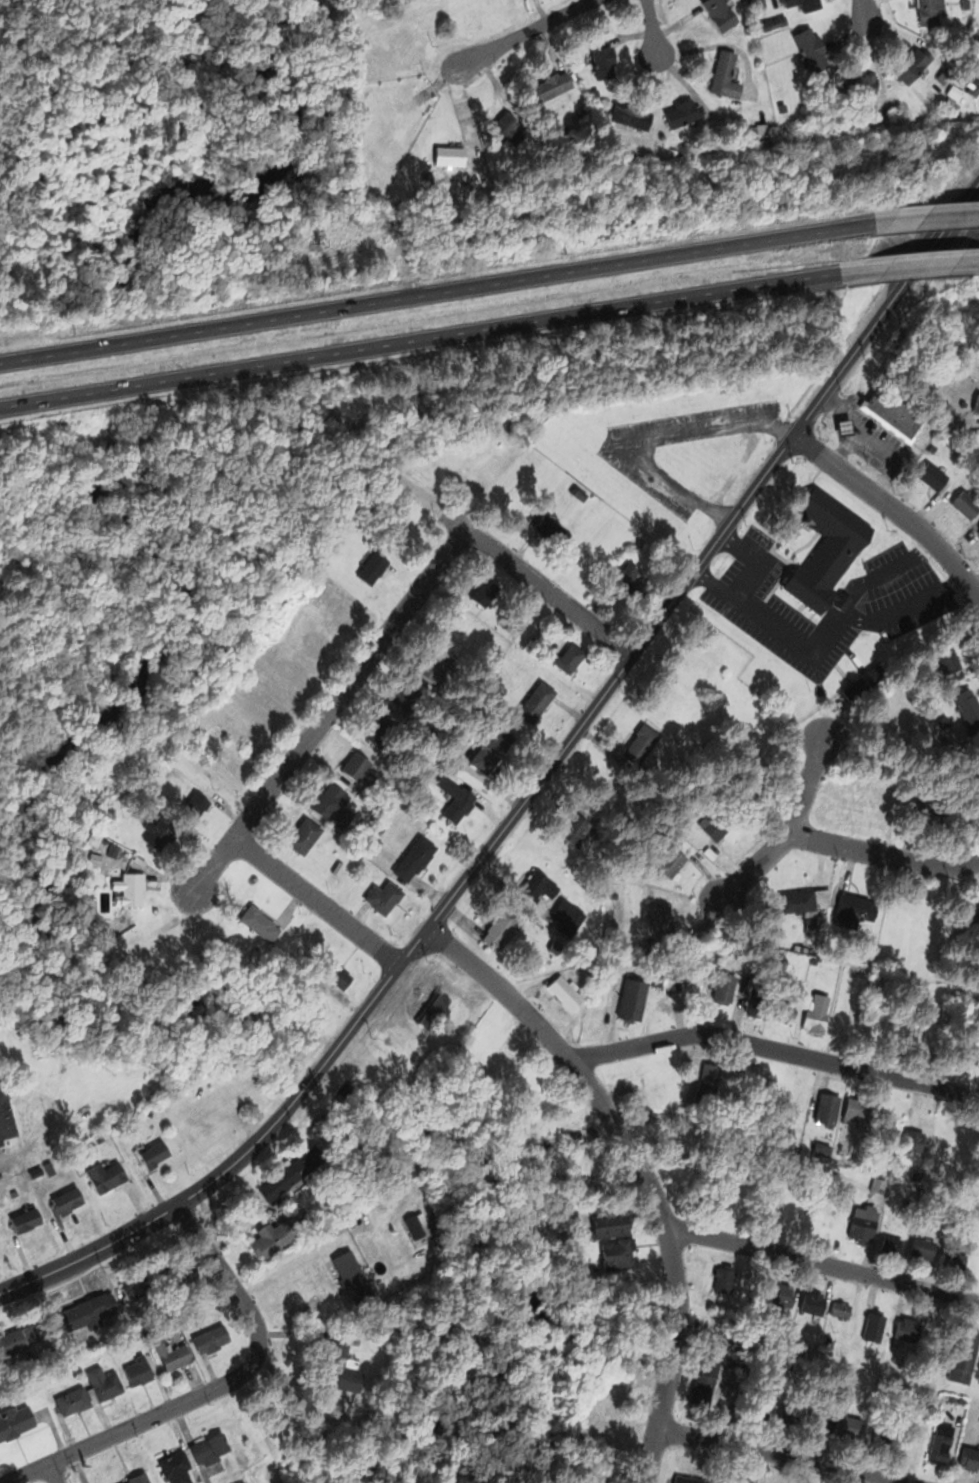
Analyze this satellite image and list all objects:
building: (762, 3)
building: (803, 3)
road: (864, 9)
building: (932, 11)
building: (720, 13)
building: (775, 22)
road: (651, 26)
road: (523, 32)
building: (811, 50)
building: (604, 59)
building: (912, 62)
building: (726, 76)
building: (943, 76)
building: (857, 86)
building: (975, 86)
building: (550, 87)
building: (956, 92)
building: (950, 101)
building: (783, 106)
building: (584, 109)
building: (683, 113)
building: (632, 116)
building: (506, 128)
building: (773, 128)
building: (753, 129)
building: (763, 129)
building: (449, 153)
building: (428, 181)
road: (927, 216)
road: (909, 264)
road: (438, 291)
road: (886, 309)
road: (419, 339)
building: (965, 403)
building: (976, 403)
building: (893, 413)
building: (845, 425)
road: (790, 433)
road: (646, 440)
parking lot: (636, 465)
building: (931, 475)
building: (580, 492)
building: (967, 503)
road: (893, 508)
road: (728, 518)
building: (553, 531)
building: (978, 531)
building: (829, 550)
building: (372, 567)
road: (885, 573)
road: (744, 580)
building: (630, 582)
building: (486, 592)
road: (549, 592)
road: (836, 618)
building: (569, 657)
building: (950, 660)
building: (435, 666)
building: (865, 684)
building: (536, 701)
building: (411, 702)
building: (967, 706)
road: (330, 709)
building: (943, 722)
building: (388, 729)
building: (642, 744)
building: (492, 748)
building: (976, 753)
building: (359, 770)
building: (456, 795)
building: (332, 802)
building: (196, 805)
building: (720, 821)
building: (582, 826)
building: (381, 827)
building: (159, 831)
road: (792, 831)
building: (305, 835)
building: (94, 838)
building: (371, 843)
building: (112, 849)
building: (125, 853)
road: (884, 853)
building: (92, 857)
building: (416, 859)
building: (670, 860)
building: (539, 886)
building: (128, 890)
building: (613, 894)
building: (384, 898)
road: (317, 900)
building: (806, 902)
road: (438, 911)
building: (567, 911)
building: (855, 912)
building: (617, 916)
building: (260, 922)
building: (664, 922)
building: (971, 924)
building: (615, 925)
building: (503, 930)
building: (339, 976)
building: (724, 987)
building: (564, 990)
building: (760, 998)
building: (630, 1000)
building: (433, 1009)
building: (815, 1011)
road: (775, 1049)
building: (967, 1050)
building: (710, 1074)
building: (826, 1111)
building: (856, 1114)
building: (6, 1116)
building: (124, 1120)
building: (98, 1138)
building: (913, 1139)
building: (154, 1153)
building: (48, 1167)
road: (640, 1168)
building: (290, 1173)
building: (104, 1175)
building: (879, 1183)
building: (14, 1192)
building: (65, 1199)
building: (240, 1216)
building: (26, 1219)
building: (865, 1222)
building: (413, 1224)
building: (605, 1225)
building: (278, 1237)
building: (890, 1242)
building: (922, 1244)
building: (619, 1256)
building: (953, 1259)
road: (822, 1263)
building: (180, 1273)
building: (354, 1276)
building: (725, 1278)
building: (756, 1284)
building: (142, 1292)
building: (782, 1295)
building: (813, 1303)
building: (840, 1308)
building: (90, 1311)
building: (873, 1326)
building: (906, 1331)
building: (211, 1338)
building: (18, 1340)
building: (173, 1352)
building: (963, 1354)
building: (339, 1366)
building: (139, 1368)
building: (704, 1381)
building: (103, 1383)
road: (214, 1388)
building: (951, 1397)
building: (72, 1399)
building: (962, 1399)
building: (731, 1400)
building: (765, 1409)
building: (793, 1415)
building: (15, 1420)
building: (824, 1421)
building: (852, 1427)
building: (882, 1434)
building: (942, 1443)
building: (210, 1448)
road: (779, 1456)
building: (969, 1458)
building: (178, 1467)
road: (53, 1473)
building: (139, 1477)
building: (692, 1478)
building: (740, 1479)
building: (242, 1482)
building: (802, 1482)

